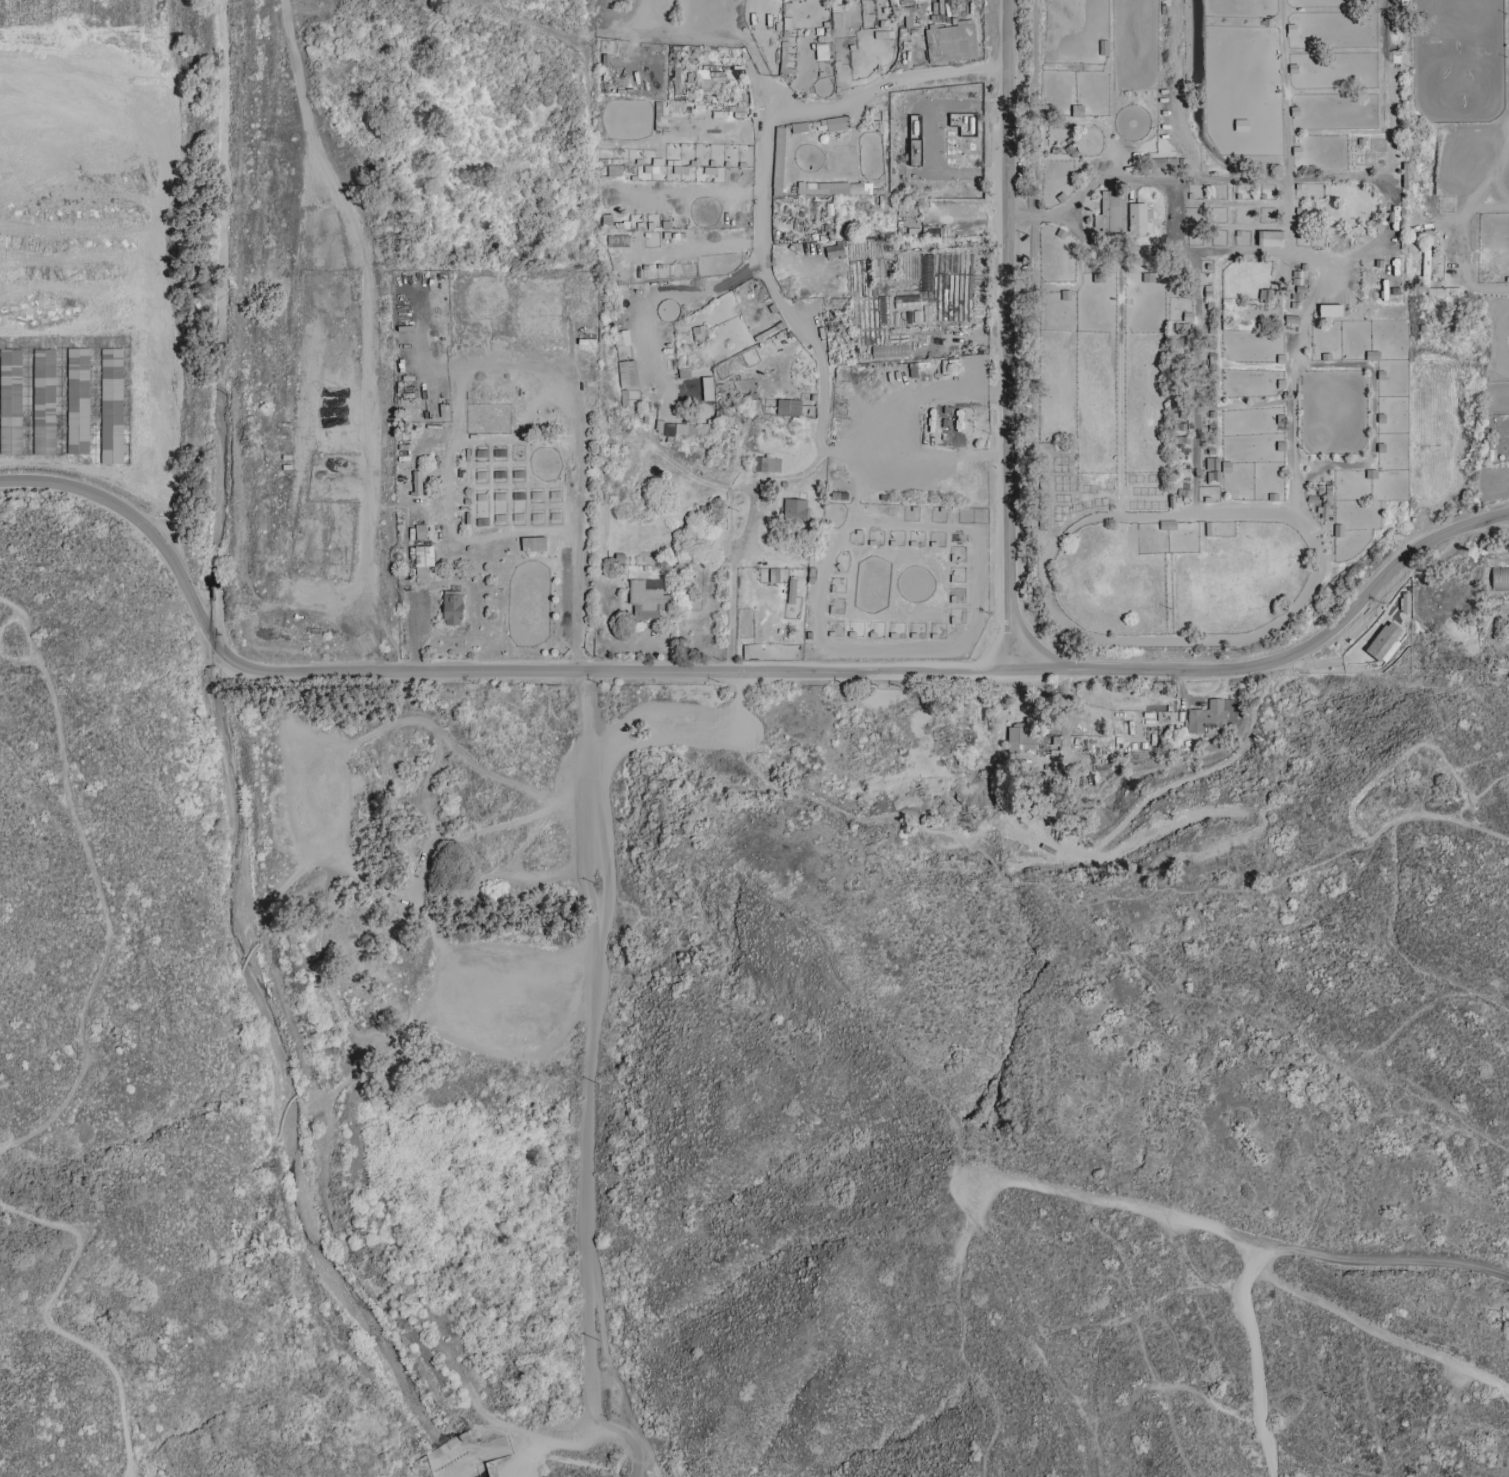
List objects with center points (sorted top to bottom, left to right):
building: (902, 0)
building: (951, 42)
building: (1104, 47)
building: (822, 51)
road: (988, 68)
building: (704, 78)
building: (1077, 110)
building: (836, 123)
building: (964, 123)
building: (1241, 125)
building: (799, 128)
building: (779, 161)
building: (680, 169)
building: (615, 170)
building: (834, 188)
road: (1041, 213)
building: (1110, 214)
road: (1180, 215)
building: (1138, 217)
building: (607, 220)
building: (1270, 238)
building: (618, 241)
building: (834, 250)
road: (1492, 287)
building: (1439, 291)
building: (1266, 294)
building: (906, 301)
building: (1330, 310)
road: (790, 316)
road: (1010, 335)
building: (622, 337)
building: (890, 350)
building: (1372, 355)
building: (628, 374)
building: (624, 397)
building: (11, 401)
building: (44, 401)
building: (78, 401)
building: (112, 405)
building: (789, 407)
building: (964, 420)
building: (682, 428)
building: (767, 464)
building: (1213, 470)
road: (9, 482)
building: (417, 483)
road: (449, 490)
building: (795, 510)
road: (576, 516)
building: (1167, 525)
building: (420, 531)
building: (533, 543)
building: (423, 561)
building: (774, 575)
building: (1500, 579)
building: (647, 600)
building: (452, 607)
building: (1383, 640)
road: (1285, 661)
road: (471, 673)
building: (1206, 717)
building: (1021, 738)
road: (1452, 818)
road: (1018, 882)
road: (99, 886)
road: (1283, 1025)
road: (590, 1085)
road: (1366, 1257)
road: (50, 1321)
road: (1383, 1328)
road: (1254, 1355)
road: (552, 1435)

